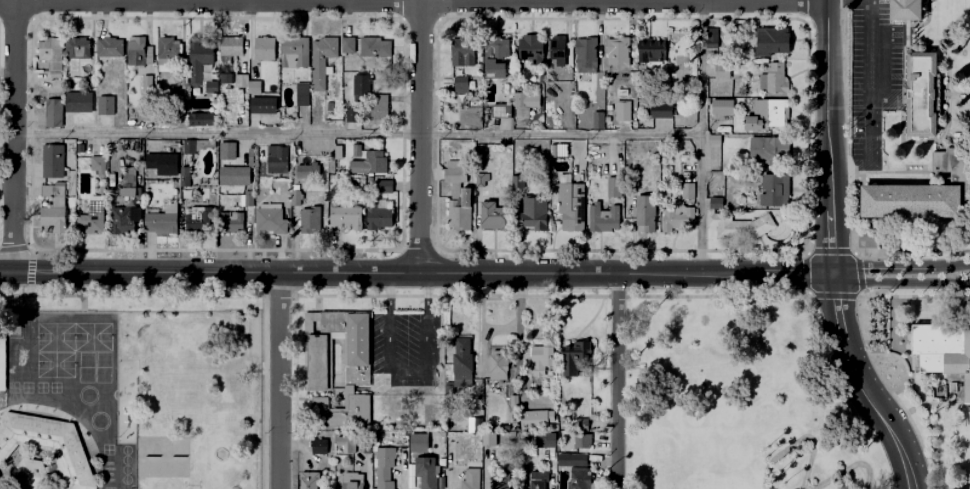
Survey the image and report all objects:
road: (847, 0)
road: (413, 3)
building: (905, 10)
road: (14, 18)
road: (32, 20)
road: (804, 22)
road: (400, 23)
building: (713, 40)
building: (348, 46)
building: (230, 47)
building: (109, 48)
building: (373, 48)
building: (77, 49)
building: (530, 49)
building: (265, 50)
building: (771, 50)
building: (557, 51)
building: (136, 52)
building: (168, 52)
building: (293, 53)
building: (651, 54)
building: (585, 55)
building: (617, 55)
building: (51, 56)
building: (200, 58)
building: (462, 58)
building: (322, 60)
building: (497, 60)
building: (722, 73)
building: (681, 75)
parking lot: (874, 75)
building: (224, 78)
building: (773, 80)
building: (241, 81)
building: (89, 82)
road: (868, 83)
building: (146, 84)
building: (210, 87)
building: (254, 87)
building: (361, 88)
building: (460, 88)
building: (622, 93)
building: (301, 94)
building: (920, 94)
road: (954, 95)
building: (475, 96)
building: (78, 102)
building: (524, 105)
building: (105, 106)
building: (261, 106)
building: (722, 107)
building: (378, 110)
building: (501, 112)
building: (52, 114)
building: (658, 114)
building: (159, 115)
building: (626, 115)
building: (352, 116)
building: (767, 116)
building: (200, 120)
building: (598, 121)
road: (349, 134)
road: (15, 135)
road: (420, 135)
road: (699, 137)
building: (713, 140)
building: (189, 147)
building: (78, 149)
building: (560, 150)
building: (226, 151)
building: (356, 151)
building: (551, 151)
building: (763, 152)
building: (337, 153)
building: (275, 159)
building: (51, 162)
building: (369, 164)
building: (161, 165)
building: (98, 166)
building: (307, 172)
road: (900, 172)
building: (234, 177)
building: (183, 178)
building: (481, 180)
building: (631, 181)
building: (128, 183)
building: (517, 183)
building: (161, 186)
building: (382, 187)
building: (614, 188)
building: (688, 191)
building: (774, 191)
building: (924, 192)
building: (54, 195)
building: (457, 196)
building: (295, 198)
building: (359, 198)
building: (245, 199)
building: (571, 204)
road: (853, 211)
building: (534, 213)
building: (645, 215)
building: (493, 216)
building: (376, 217)
building: (600, 217)
building: (93, 218)
building: (346, 218)
building: (677, 218)
building: (52, 219)
building: (126, 219)
building: (269, 220)
building: (196, 221)
building: (228, 221)
building: (308, 221)
building: (163, 222)
building: (736, 224)
road: (15, 248)
road: (31, 248)
road: (400, 249)
road: (438, 249)
road: (419, 250)
road: (804, 251)
road: (829, 251)
road: (912, 251)
road: (853, 252)
road: (832, 253)
road: (882, 265)
road: (952, 265)
road: (30, 267)
road: (6, 272)
road: (387, 272)
road: (805, 273)
road: (858, 273)
road: (797, 275)
road: (900, 282)
road: (28, 291)
road: (859, 294)
road: (263, 295)
road: (278, 295)
road: (227, 296)
road: (449, 296)
road: (615, 296)
road: (716, 296)
road: (832, 296)
road: (914, 298)
building: (331, 321)
road: (883, 326)
park: (55, 337)
park: (92, 337)
building: (356, 338)
parking lot: (403, 349)
building: (943, 350)
building: (542, 360)
building: (576, 360)
building: (316, 361)
building: (2, 362)
building: (496, 364)
park: (55, 365)
building: (462, 365)
road: (903, 369)
road: (408, 377)
road: (278, 380)
road: (617, 381)
park: (739, 401)
building: (510, 402)
building: (340, 411)
building: (535, 420)
building: (579, 424)
road: (798, 440)
building: (489, 441)
building: (547, 441)
building: (583, 441)
building: (347, 444)
building: (418, 444)
building: (48, 446)
building: (318, 452)
road: (848, 467)
building: (385, 468)
building: (577, 469)
building: (426, 473)
building: (31, 474)
building: (309, 480)
building: (472, 480)
building: (352, 481)
building: (539, 481)
building: (502, 484)
building: (0, 486)

